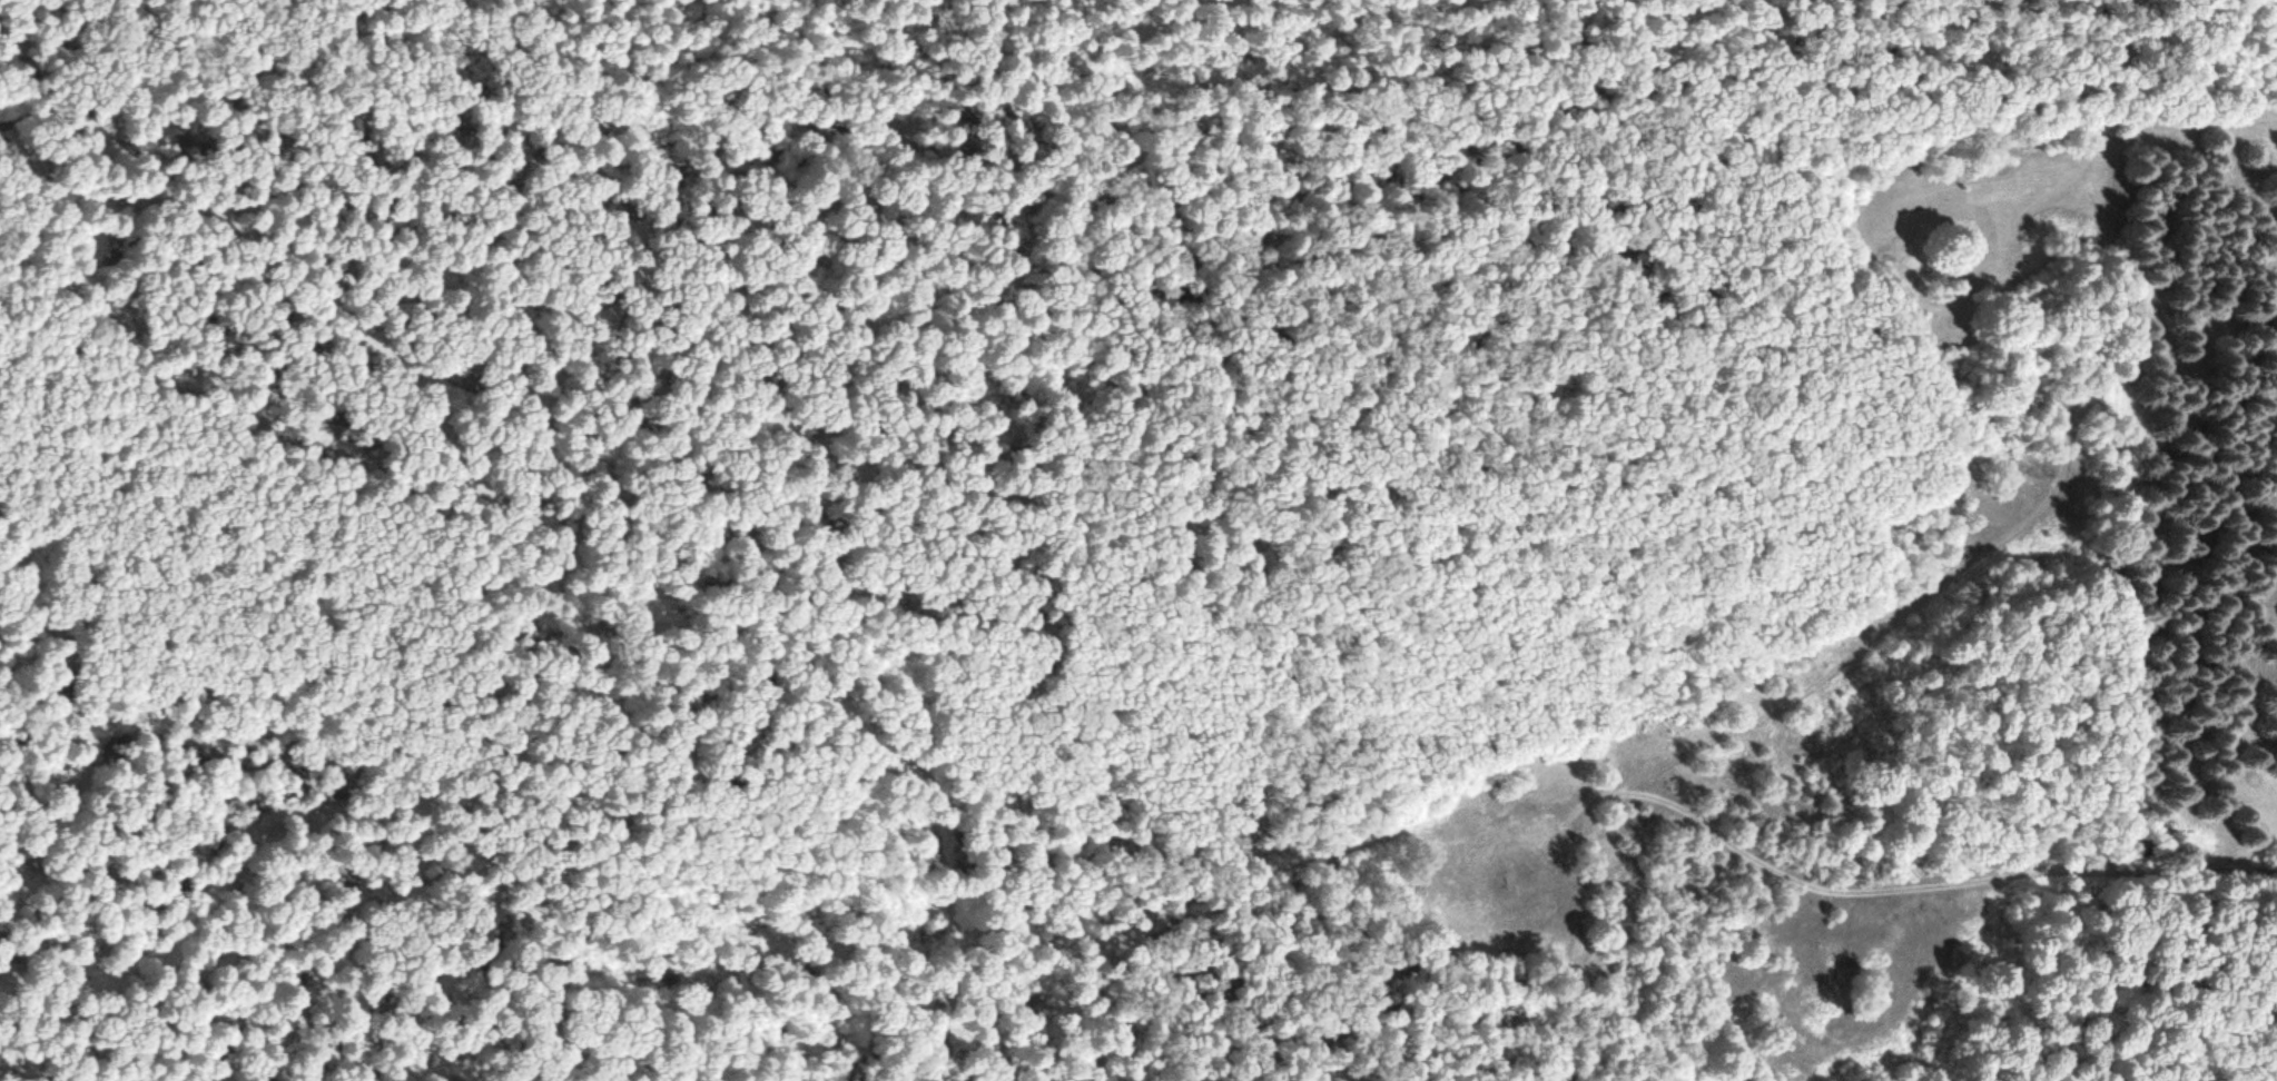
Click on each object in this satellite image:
road: (2225, 60)

